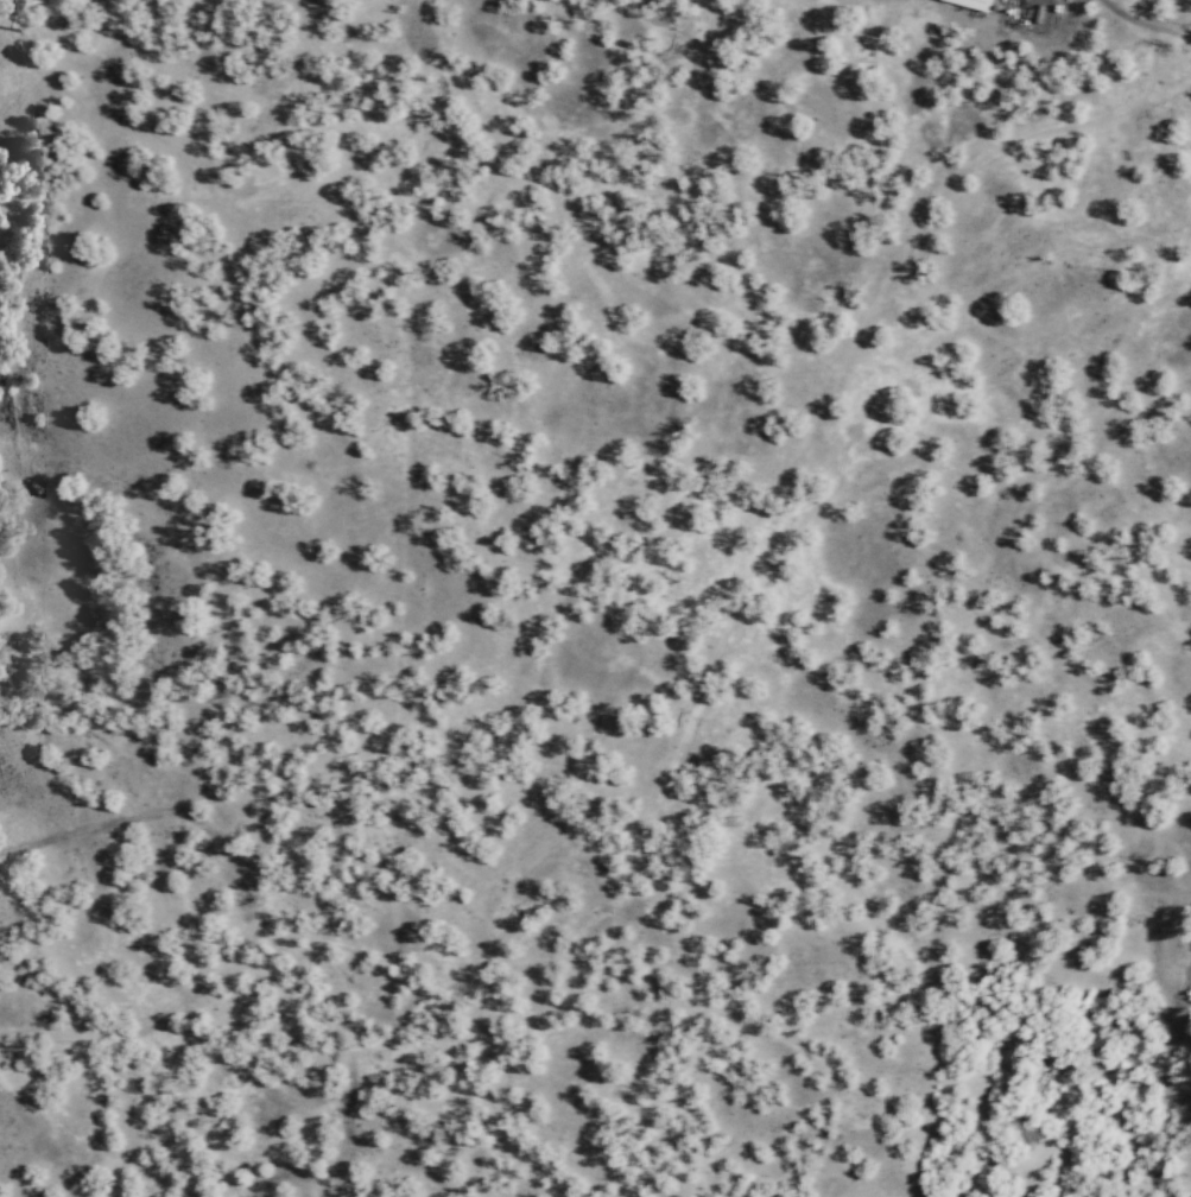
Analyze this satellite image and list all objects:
building: (971, 4)
road: (1147, 21)

